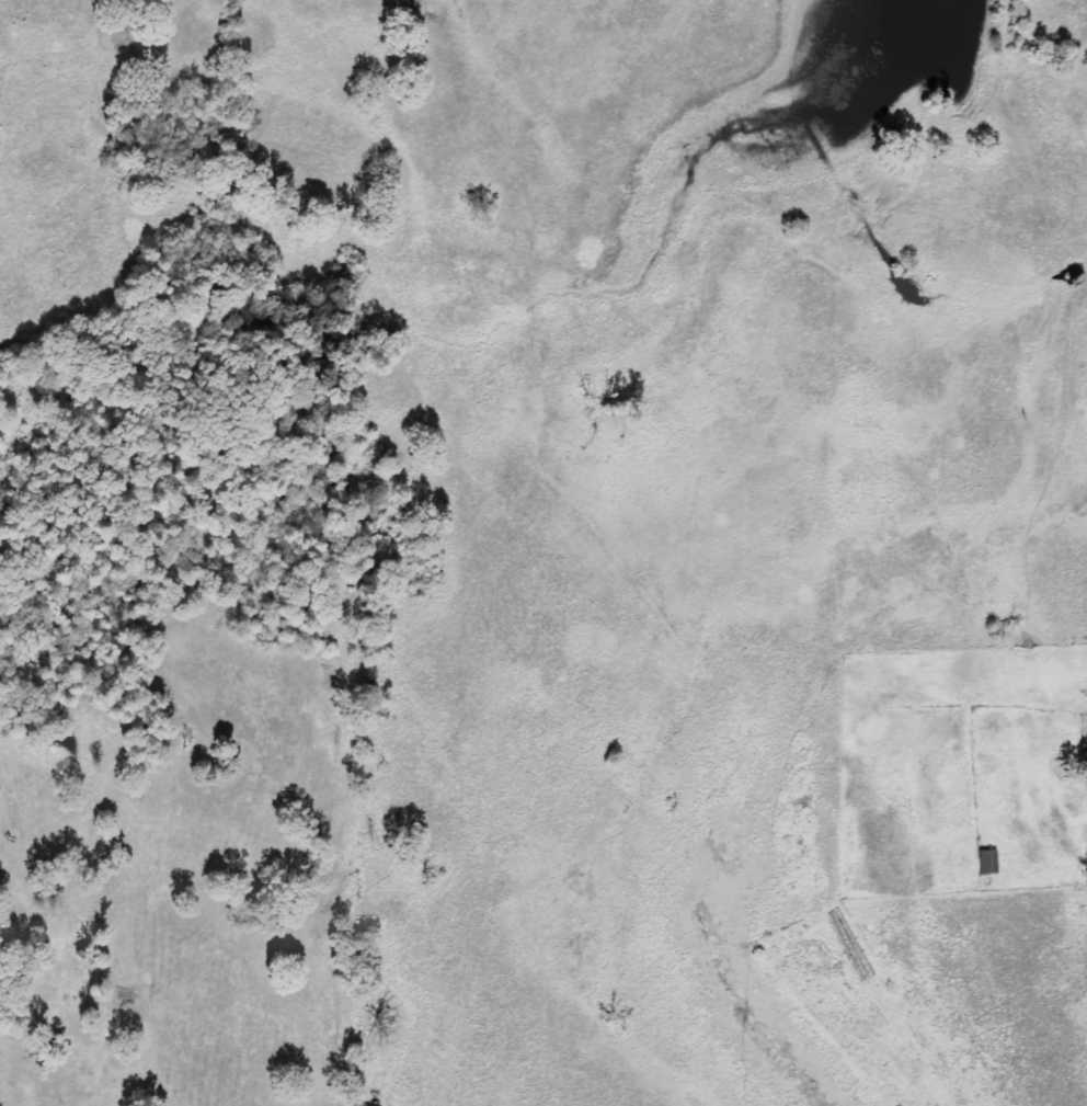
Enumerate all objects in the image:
building: (987, 863)

